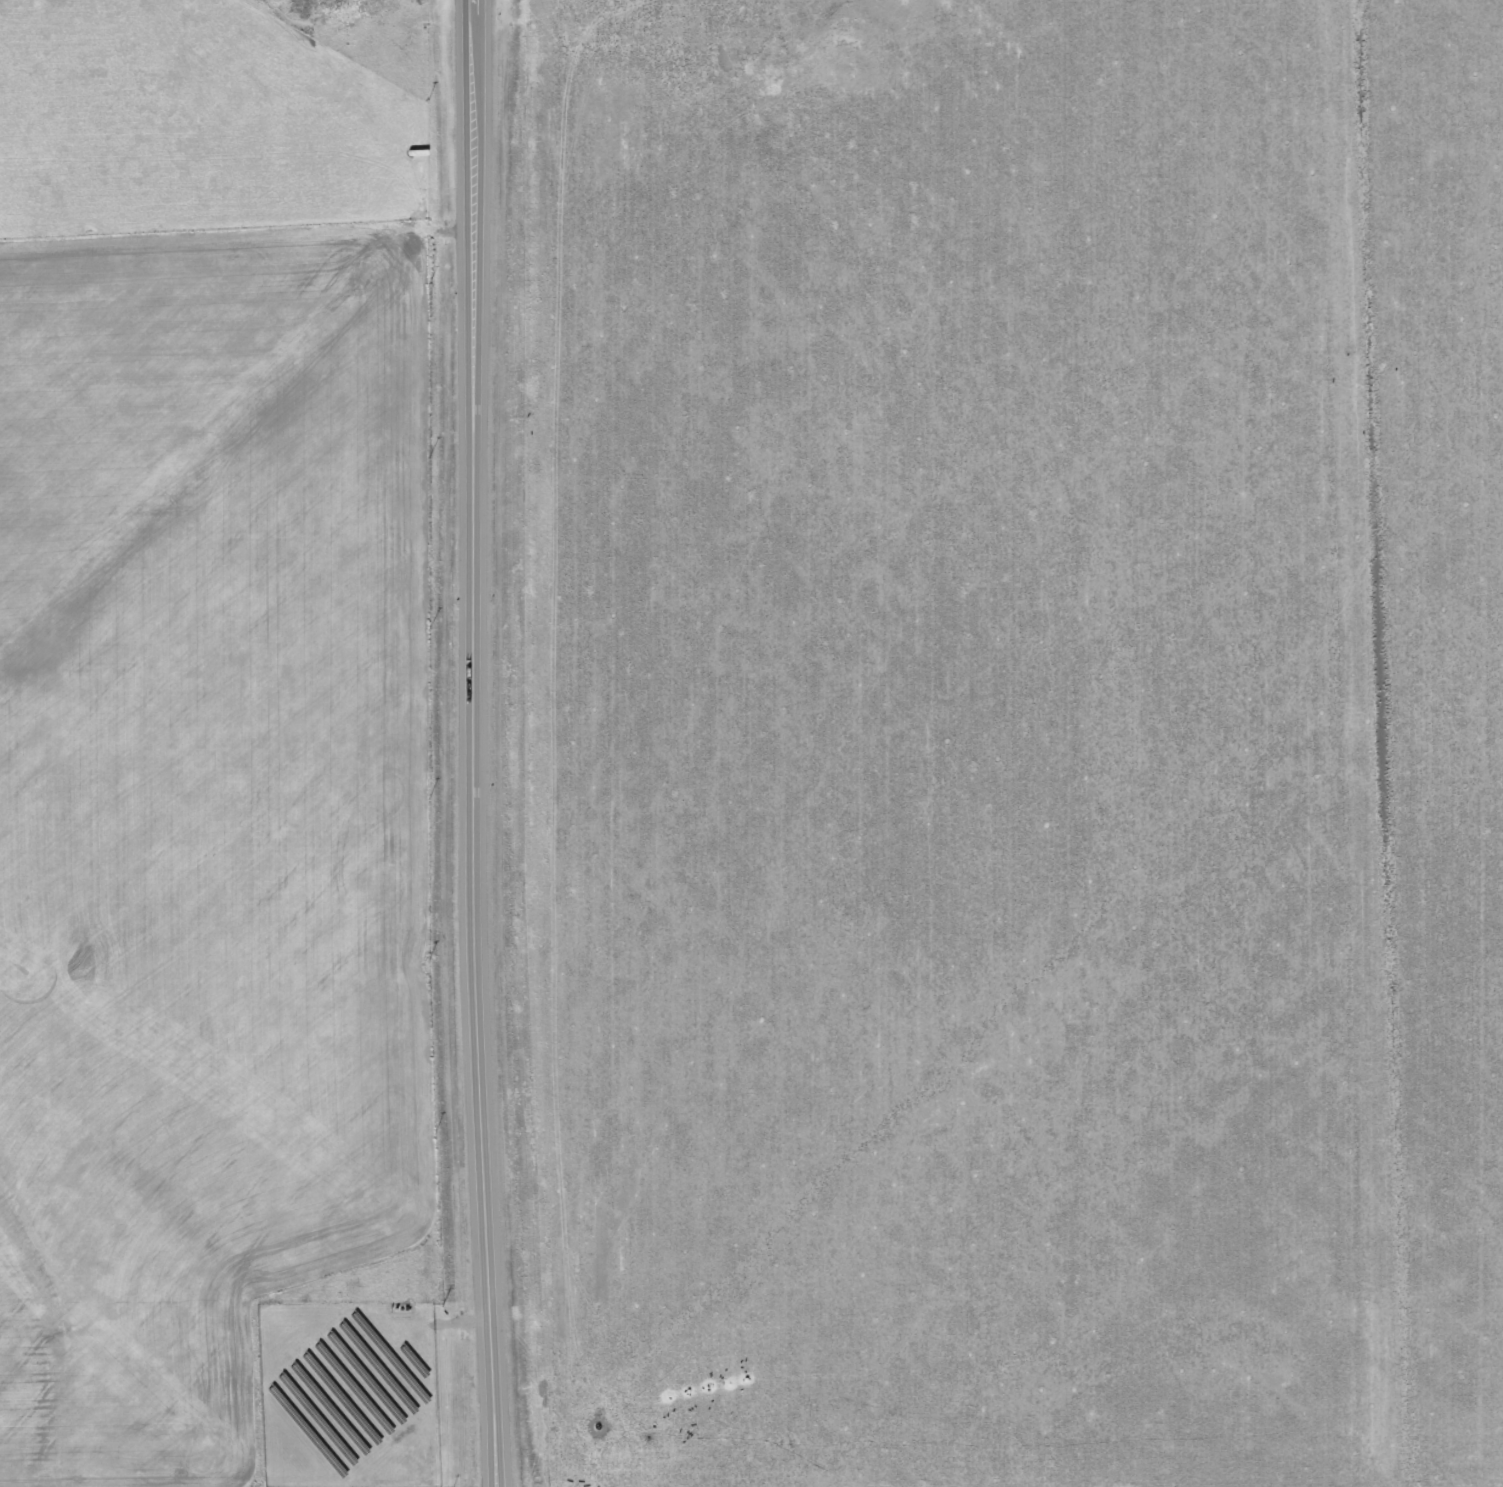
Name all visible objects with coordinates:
road: (483, 703)
road: (493, 1447)

